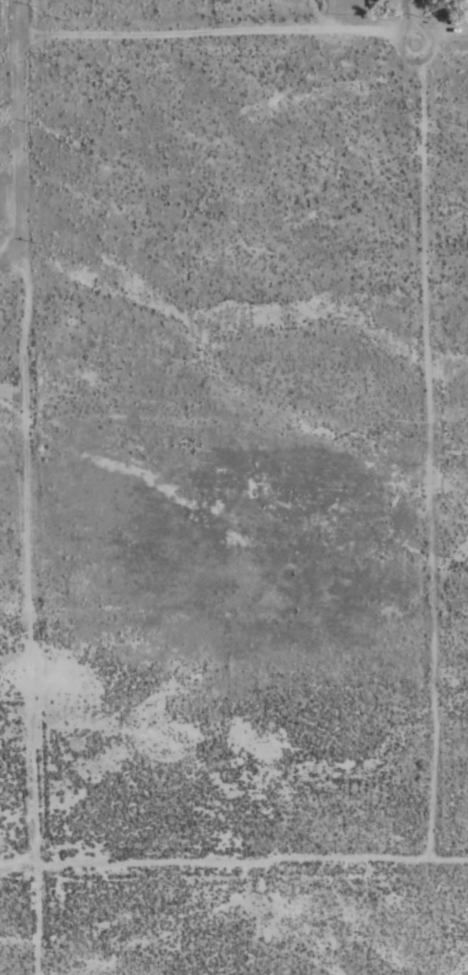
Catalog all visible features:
road: (415, 16)
road: (241, 34)
road: (10, 254)
road: (26, 487)
road: (424, 504)
road: (251, 863)

